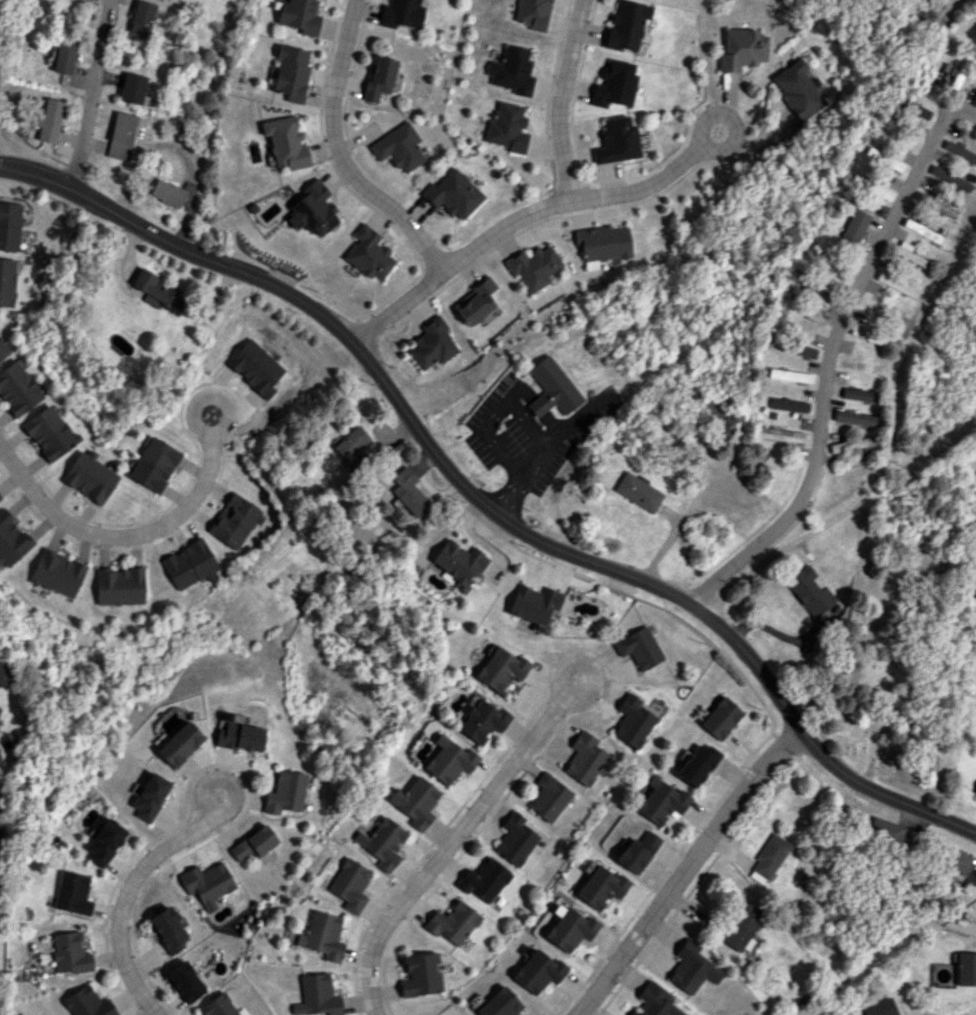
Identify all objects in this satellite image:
building: (83, 0)
building: (401, 13)
building: (532, 13)
building: (299, 16)
building: (141, 17)
building: (623, 26)
building: (740, 49)
building: (64, 54)
building: (511, 71)
building: (291, 73)
building: (379, 79)
building: (612, 84)
building: (132, 88)
building: (796, 90)
road: (92, 94)
road: (558, 99)
building: (913, 108)
building: (48, 121)
building: (506, 127)
building: (121, 135)
building: (614, 141)
building: (285, 143)
road: (702, 143)
building: (399, 147)
road: (339, 155)
building: (167, 192)
building: (881, 192)
building: (454, 194)
building: (936, 205)
building: (312, 209)
road: (517, 219)
building: (9, 225)
building: (854, 226)
building: (925, 231)
building: (601, 244)
building: (369, 253)
building: (908, 253)
building: (827, 264)
building: (534, 266)
building: (6, 281)
building: (897, 284)
building: (156, 291)
building: (476, 302)
building: (869, 333)
building: (432, 344)
building: (4, 349)
building: (803, 350)
road: (830, 355)
building: (789, 375)
building: (551, 388)
building: (16, 389)
building: (858, 394)
building: (788, 405)
road: (493, 417)
building: (855, 419)
road: (197, 422)
building: (727, 422)
building: (48, 432)
building: (780, 434)
building: (851, 444)
building: (351, 446)
road: (545, 450)
road: (891, 450)
building: (153, 464)
building: (89, 477)
building: (639, 492)
building: (410, 497)
road: (486, 502)
building: (235, 521)
road: (121, 533)
building: (11, 539)
building: (459, 560)
building: (56, 572)
building: (118, 586)
building: (809, 591)
building: (533, 603)
building: (638, 648)
building: (497, 667)
park: (875, 671)
building: (0, 680)
road: (564, 689)
building: (720, 718)
building: (632, 720)
building: (481, 721)
building: (239, 737)
building: (178, 744)
building: (585, 758)
building: (447, 760)
building: (696, 764)
building: (285, 792)
building: (975, 793)
building: (148, 796)
building: (548, 797)
building: (414, 801)
building: (661, 801)
road: (205, 805)
building: (884, 829)
building: (514, 839)
building: (102, 840)
building: (254, 843)
building: (382, 843)
road: (448, 845)
building: (637, 852)
building: (769, 856)
building: (958, 861)
road: (683, 868)
building: (483, 879)
building: (207, 883)
building: (350, 884)
building: (600, 887)
building: (71, 893)
road: (122, 898)
building: (452, 922)
building: (742, 927)
building: (167, 929)
building: (569, 929)
building: (323, 935)
building: (68, 953)
building: (692, 968)
building: (965, 968)
building: (537, 971)
building: (420, 974)
building: (184, 982)
building: (318, 996)
building: (654, 1001)
building: (86, 1003)
building: (498, 1004)
building: (218, 1006)
building: (879, 1007)

